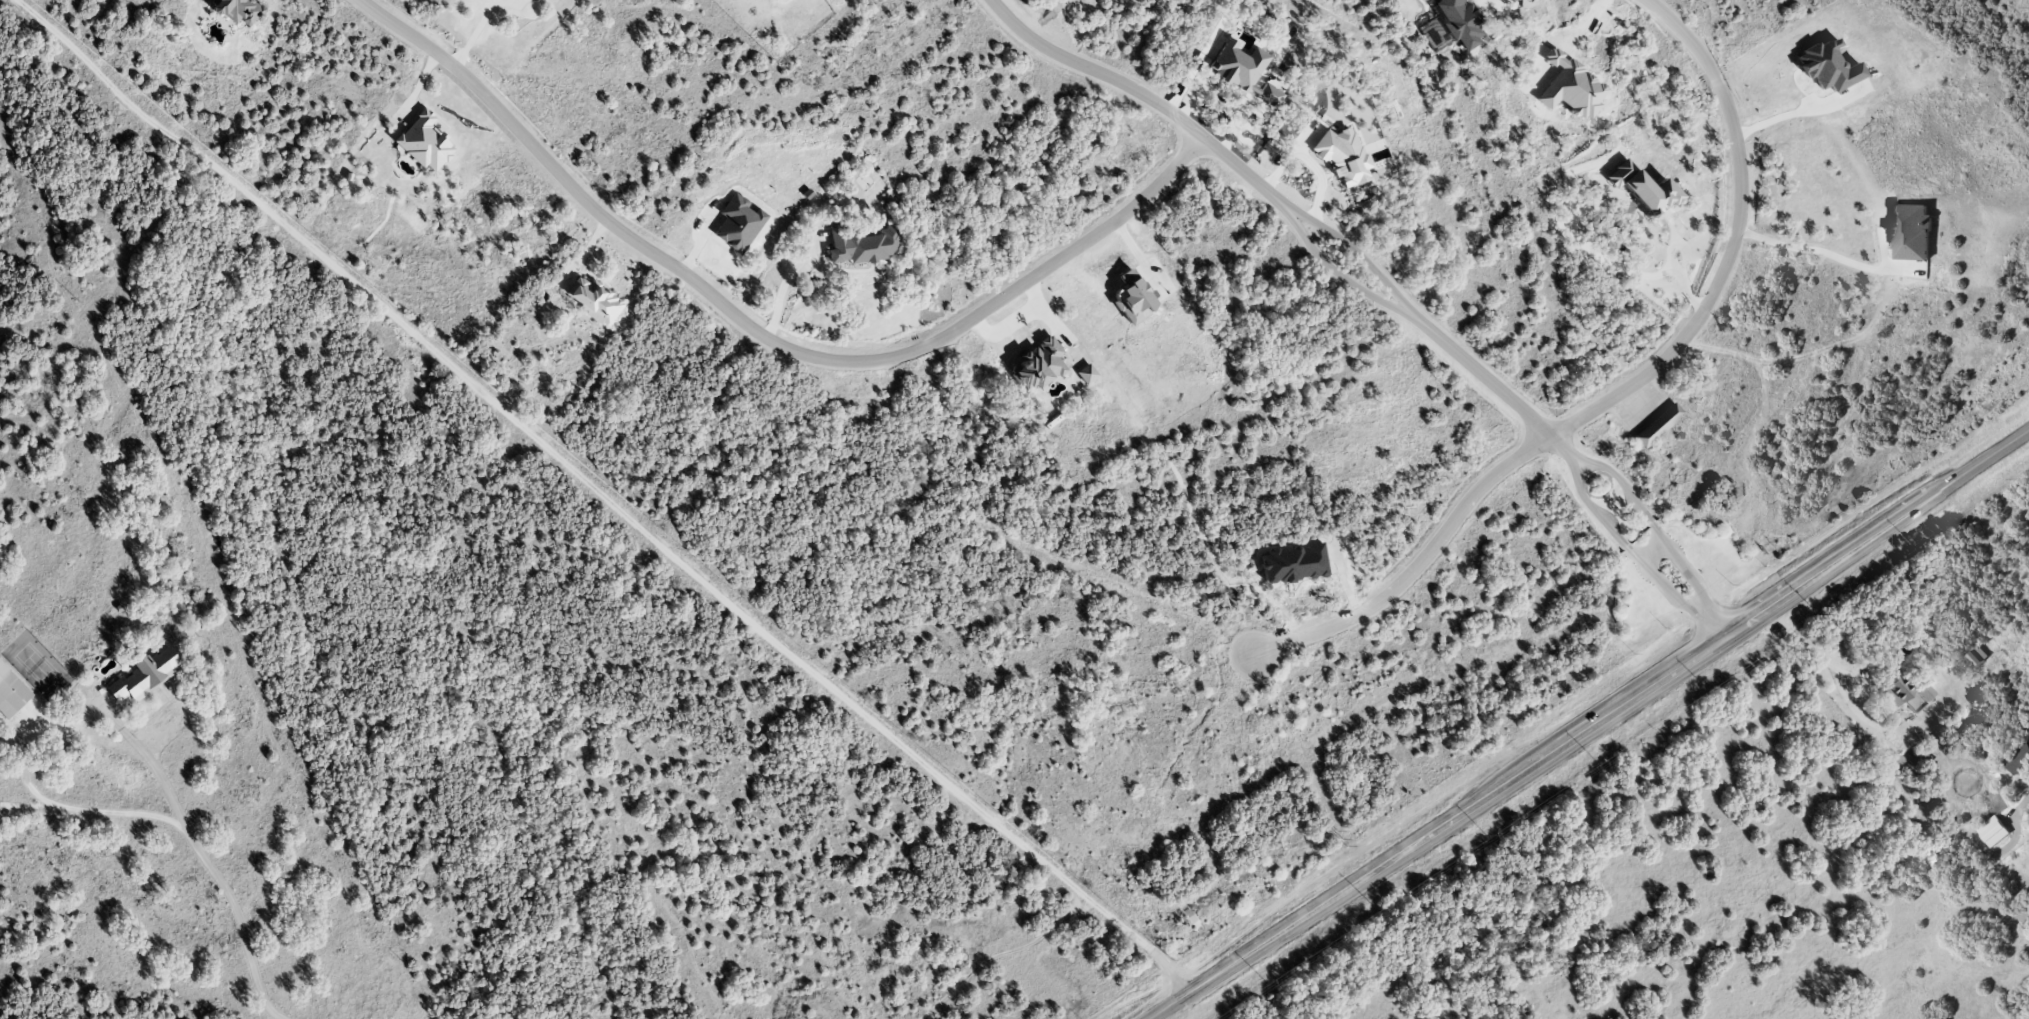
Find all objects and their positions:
building: (239, 10)
building: (1459, 21)
road: (477, 33)
building: (1827, 65)
road: (1144, 95)
road: (1787, 117)
building: (423, 141)
building: (1342, 156)
building: (1642, 187)
building: (738, 222)
building: (1910, 231)
road: (1817, 248)
road: (1358, 252)
road: (1338, 275)
road: (1650, 275)
road: (780, 291)
building: (593, 299)
road: (757, 334)
road: (1802, 355)
building: (1038, 364)
building: (1086, 373)
road: (1492, 387)
road: (1620, 391)
building: (1657, 424)
road: (1624, 491)
road: (604, 494)
road: (1596, 516)
road: (1649, 551)
road: (1684, 575)
road: (1669, 589)
road: (1712, 627)
building: (1977, 655)
road: (1839, 670)
building: (145, 674)
building: (1925, 692)
building: (1899, 693)
building: (11, 694)
road: (1590, 727)
road: (43, 741)
building: (2019, 759)
road: (23, 803)
road: (2021, 803)
building: (1993, 831)
road: (238, 928)
road: (1001, 955)

